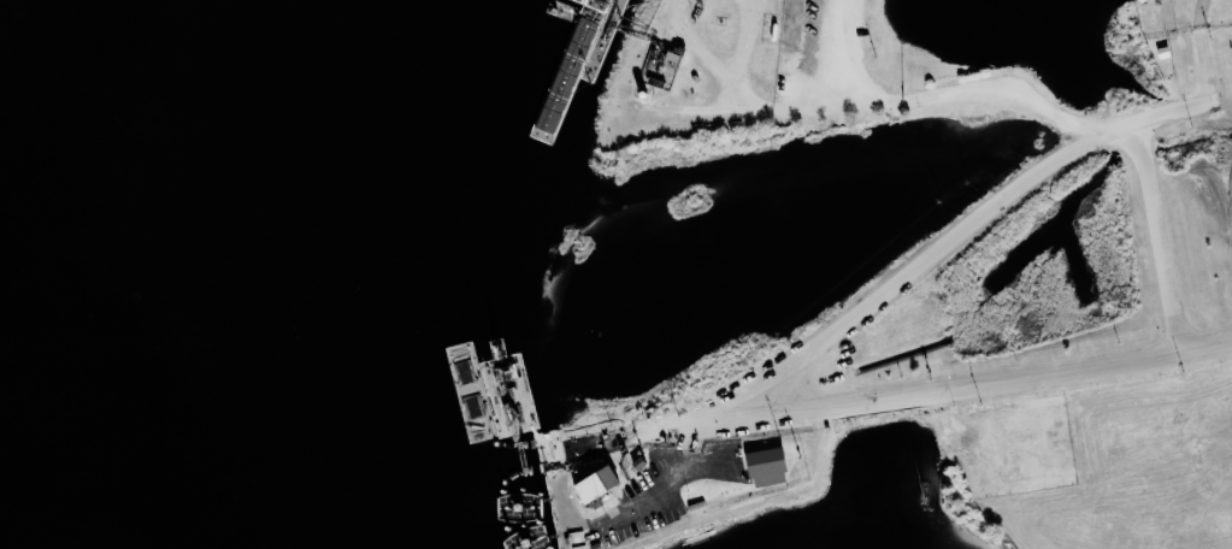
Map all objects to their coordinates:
road: (749, 43)
road: (701, 52)
road: (841, 52)
road: (1199, 55)
building: (668, 58)
road: (920, 111)
road: (1159, 240)
road: (950, 253)
river: (361, 267)
road: (957, 386)
road: (599, 445)
building: (638, 466)
building: (767, 466)
building: (599, 486)
road: (624, 509)

